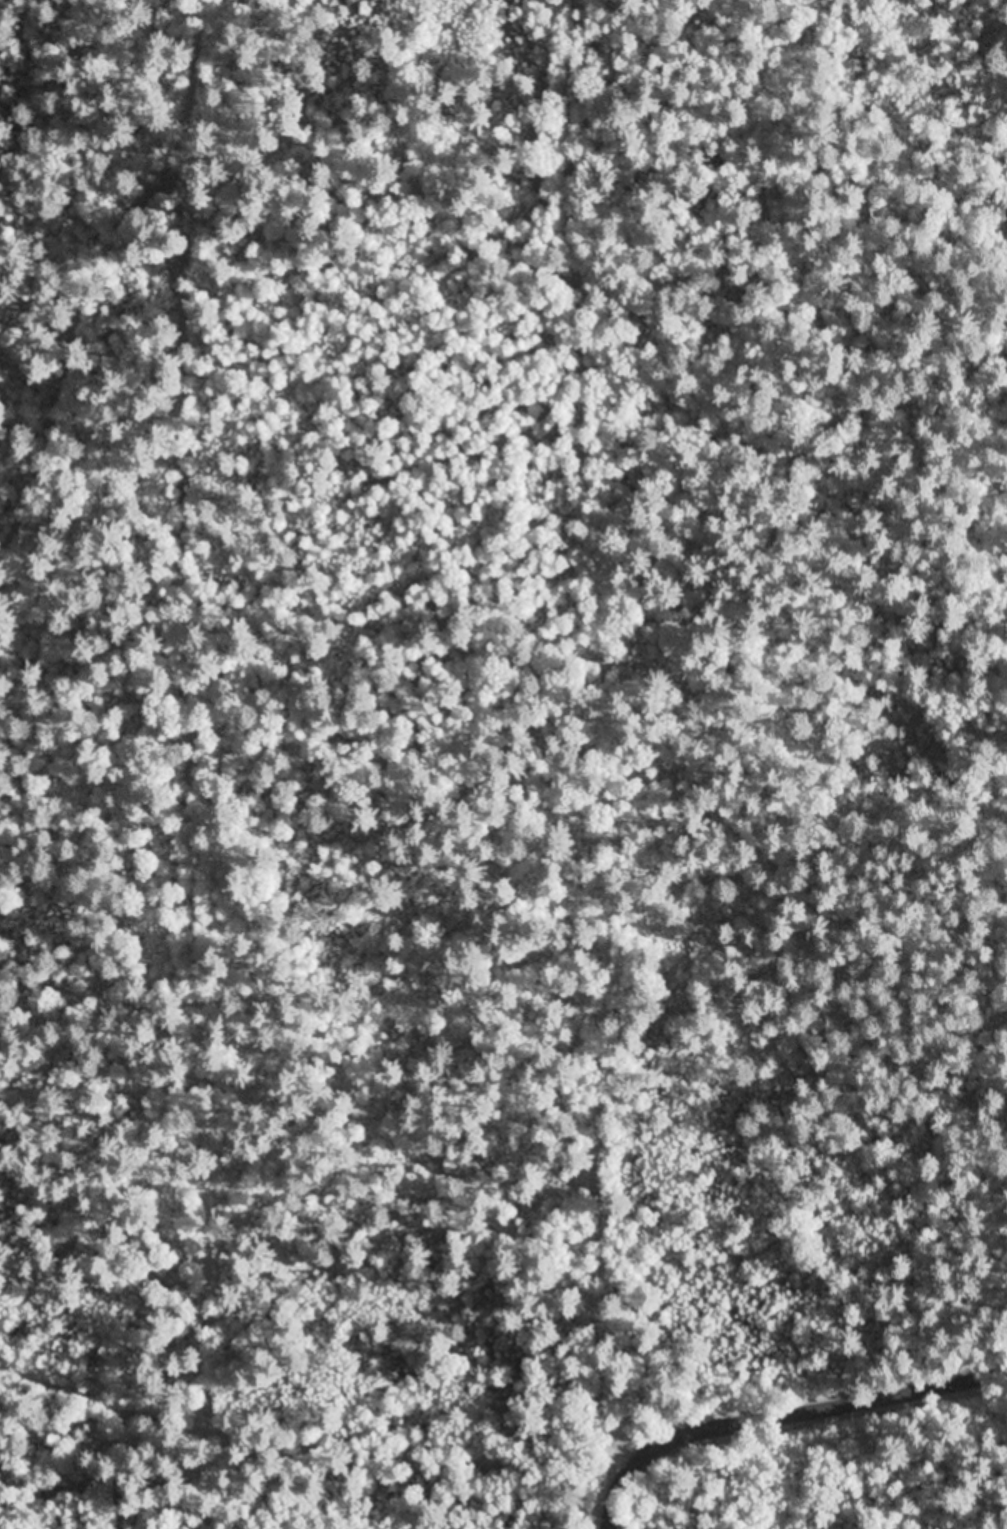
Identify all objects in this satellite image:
road: (778, 1412)

